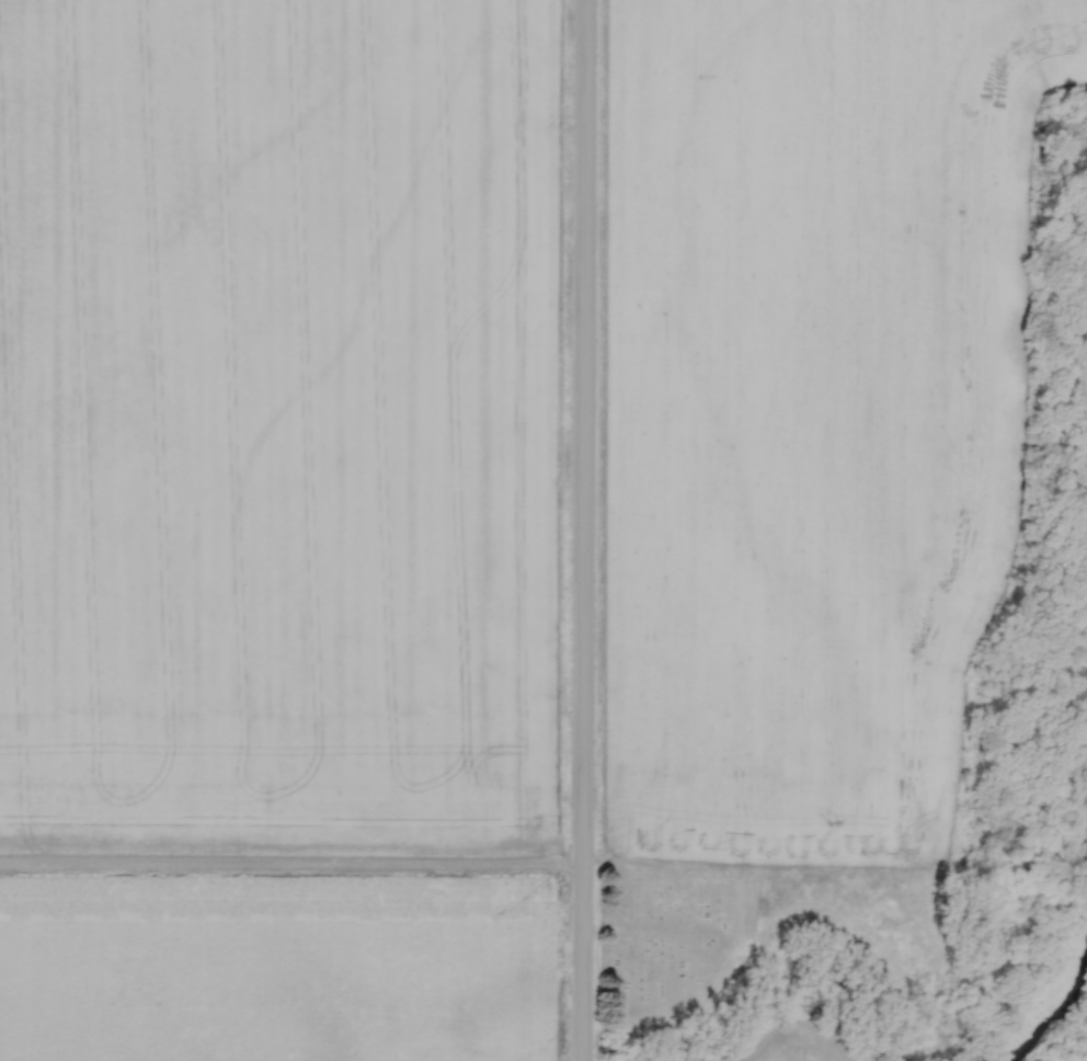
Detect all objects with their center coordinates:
crop: (808, 404)
road: (585, 530)
river: (1052, 1008)

